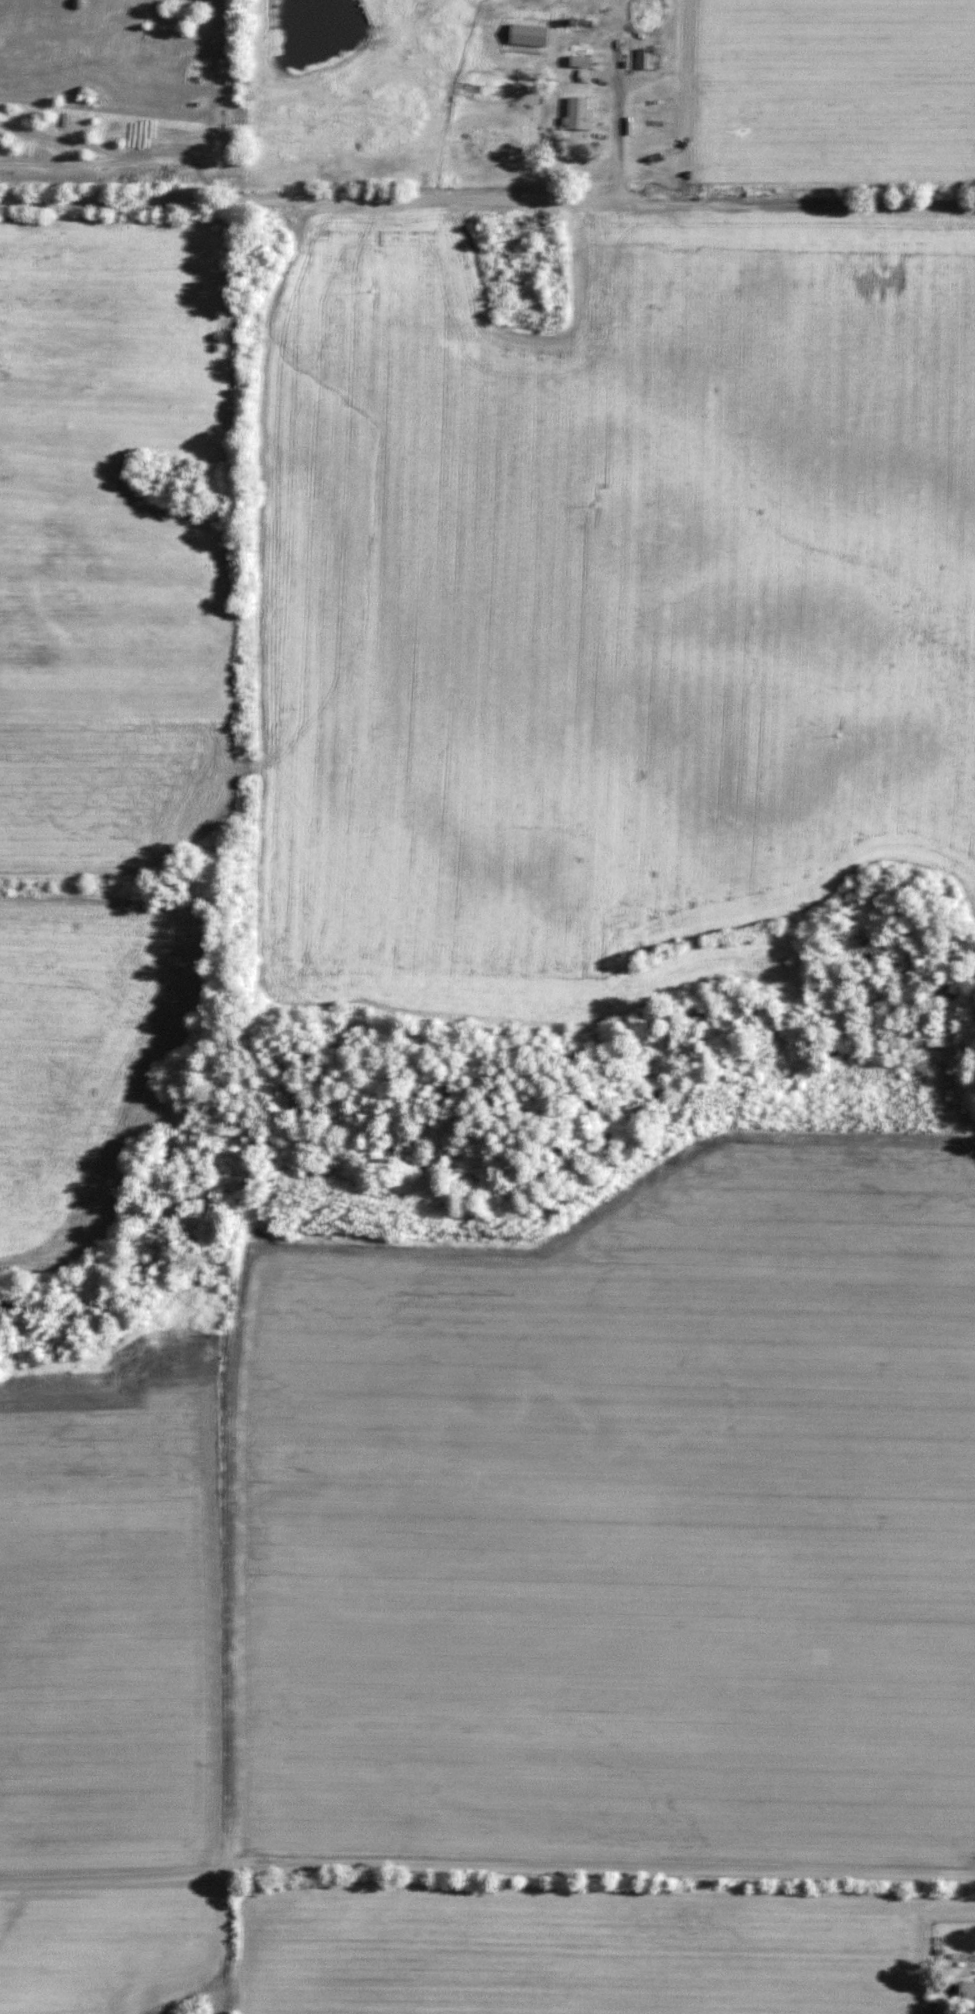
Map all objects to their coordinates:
road: (360, 198)
road: (487, 1864)

